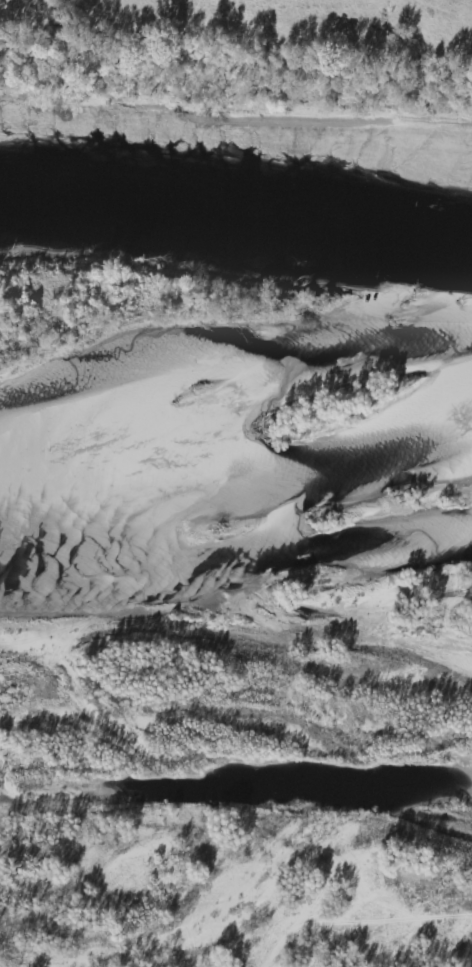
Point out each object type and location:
river: (236, 192)

